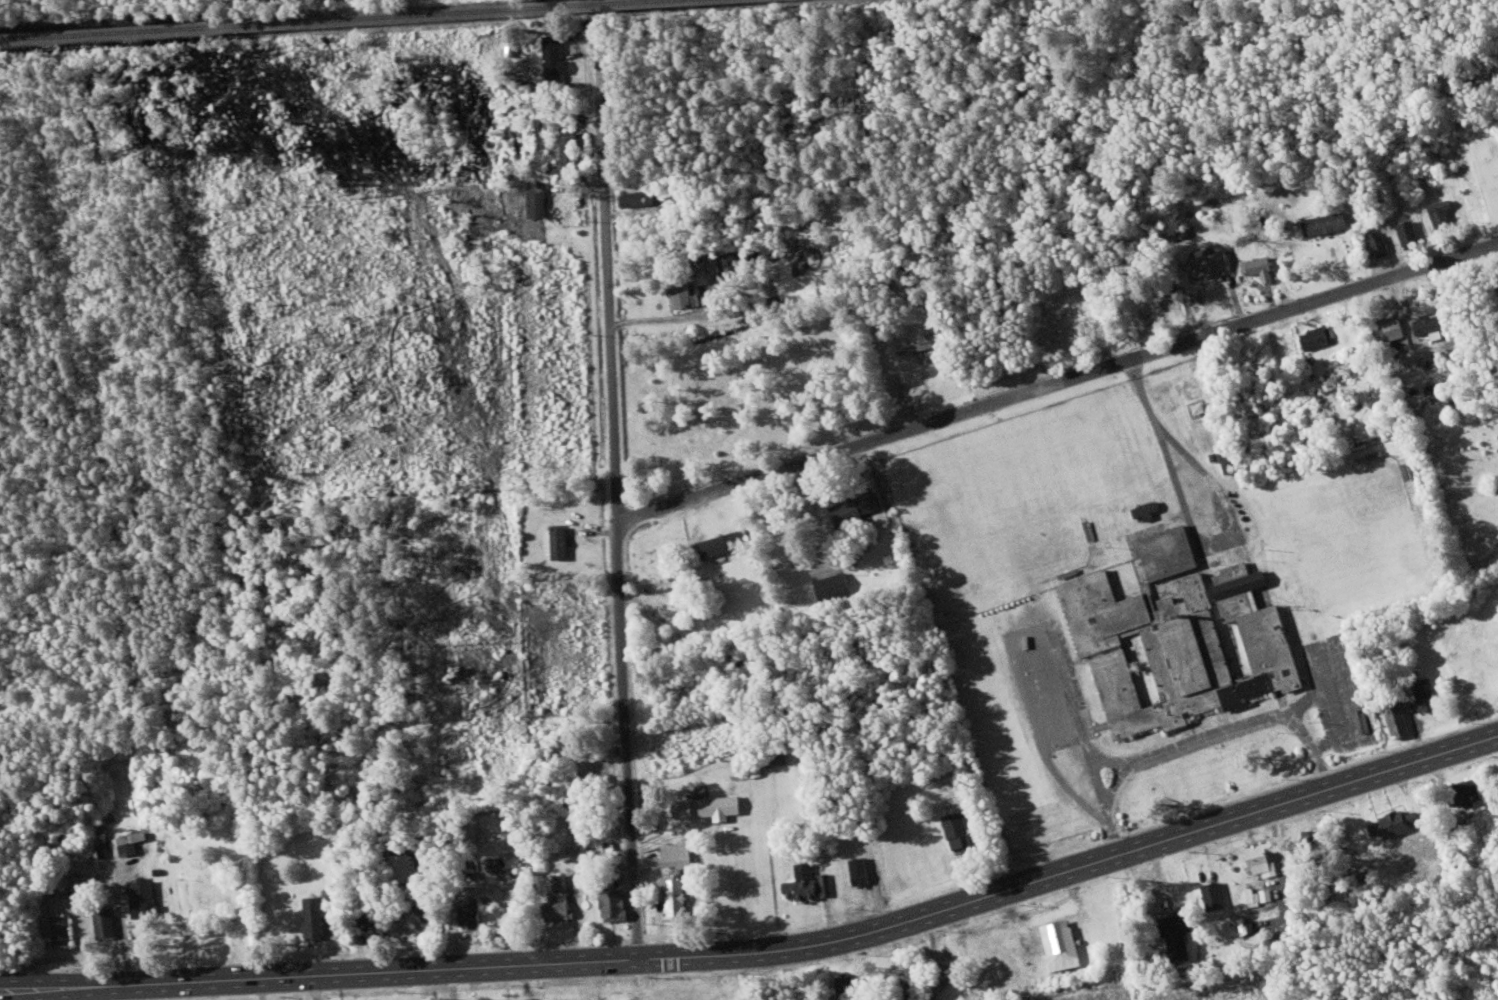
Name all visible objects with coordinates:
railway: (334, 19)
building: (557, 60)
building: (572, 150)
building: (641, 197)
building: (539, 198)
building: (1444, 212)
building: (1328, 222)
building: (1411, 232)
building: (1380, 242)
building: (745, 256)
road: (1275, 258)
building: (710, 259)
building: (1212, 264)
building: (1263, 267)
building: (685, 293)
building: (1433, 323)
building: (1396, 327)
building: (1317, 337)
building: (917, 345)
road: (1056, 382)
building: (1201, 407)
road: (1168, 447)
building: (1230, 458)
road: (615, 499)
building: (1149, 507)
building: (857, 508)
building: (562, 541)
building: (727, 541)
building: (1169, 550)
building: (835, 583)
building: (1180, 646)
building: (1429, 693)
building: (1400, 717)
road: (1197, 737)
building: (1475, 787)
building: (712, 805)
building: (962, 830)
building: (1403, 837)
building: (132, 842)
building: (680, 853)
building: (1263, 857)
building: (863, 870)
building: (563, 881)
building: (811, 882)
building: (1261, 894)
building: (145, 895)
building: (677, 895)
building: (1215, 895)
building: (616, 903)
building: (559, 906)
building: (320, 913)
building: (475, 913)
road: (132, 921)
building: (107, 922)
building: (64, 928)
building: (1181, 932)
building: (1063, 944)
road: (764, 952)
building: (998, 953)

